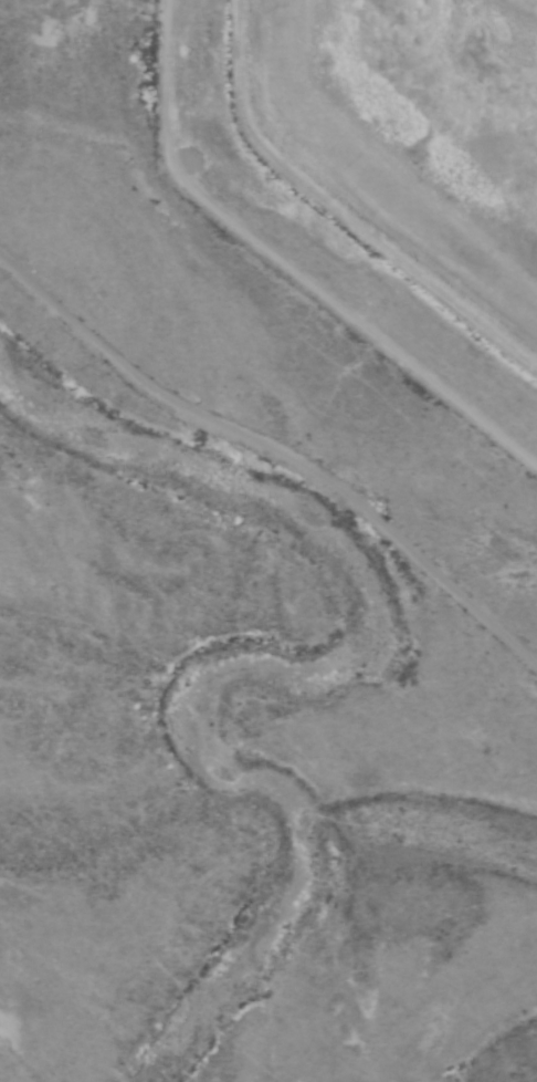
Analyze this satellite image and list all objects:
road: (7, 38)
crop: (387, 150)
road: (277, 461)

